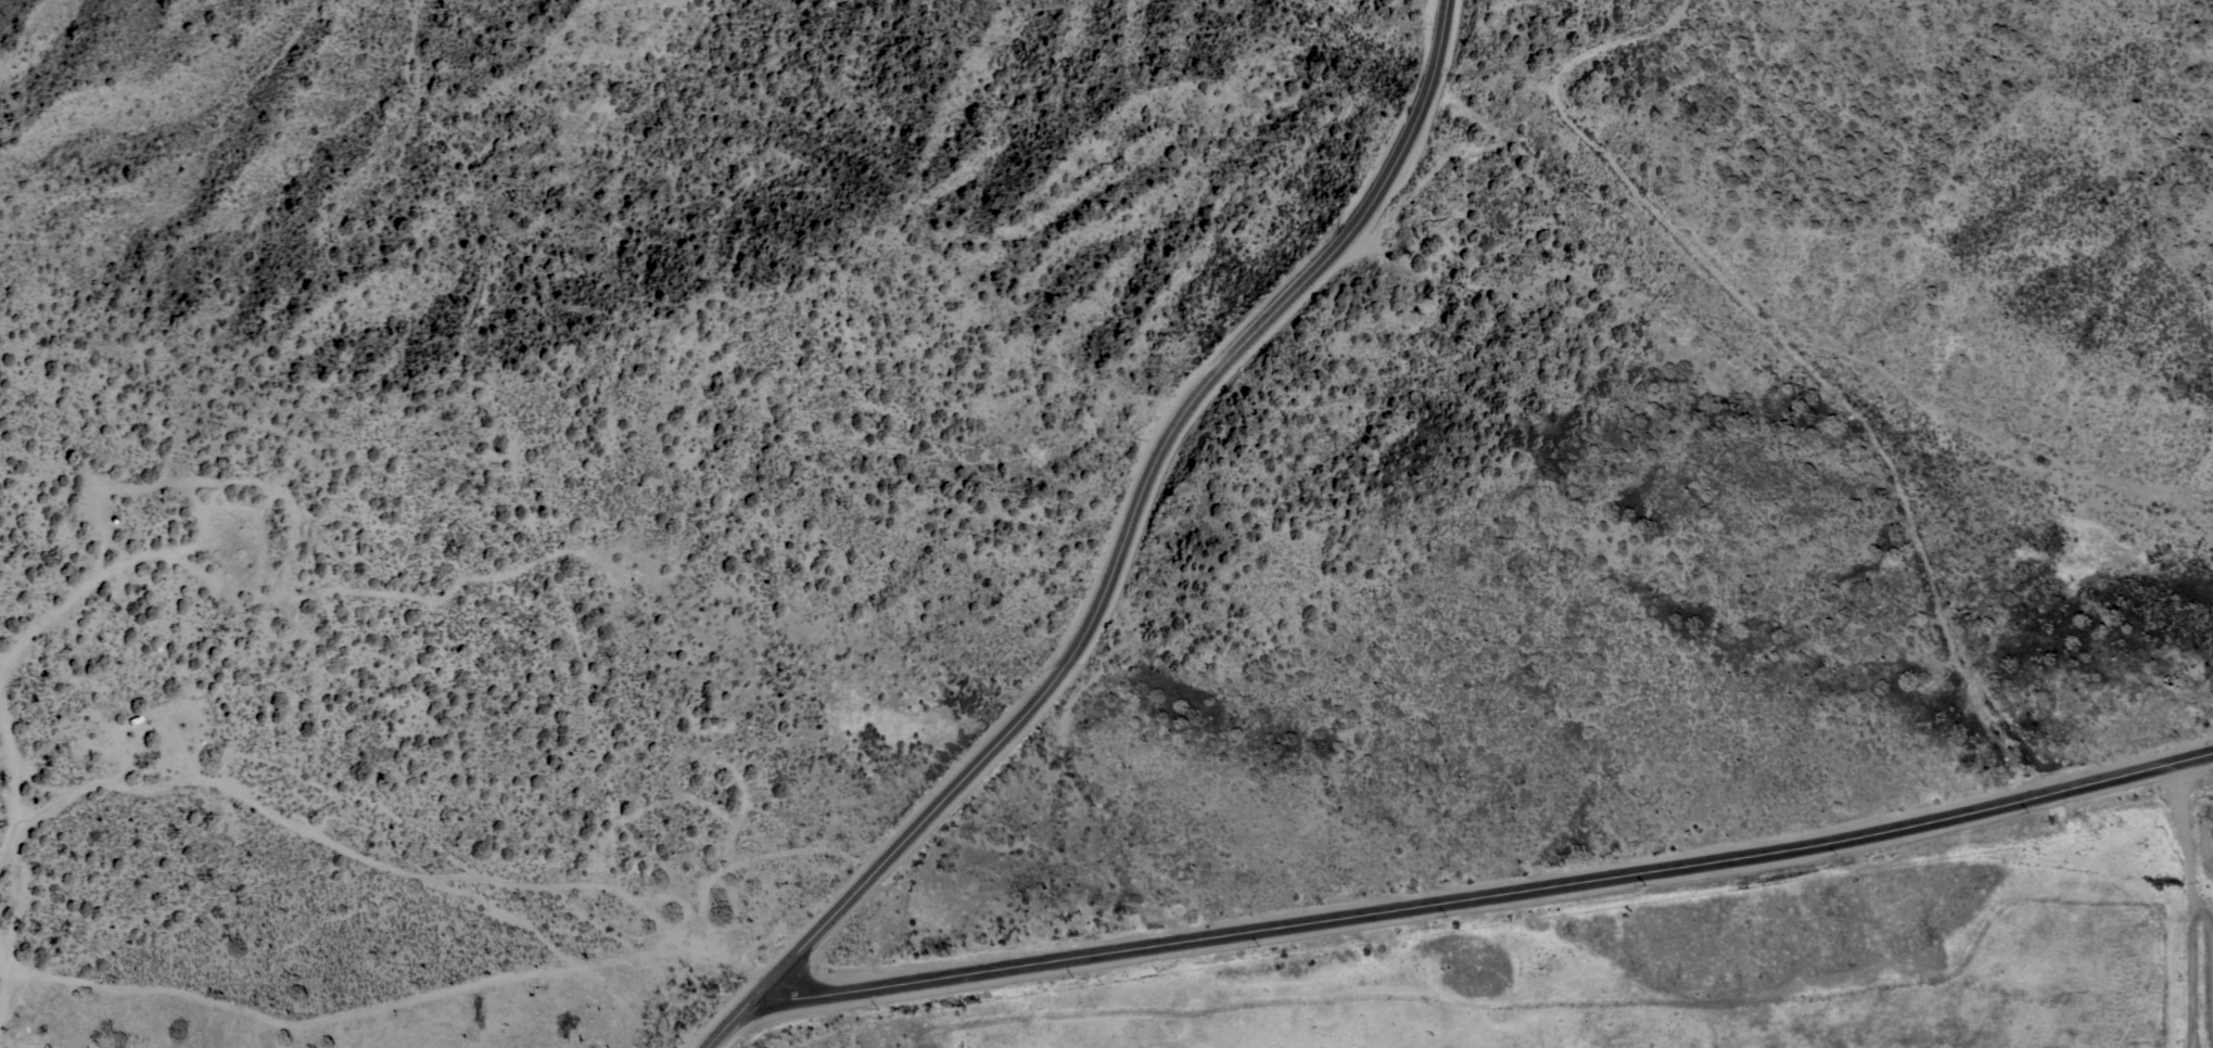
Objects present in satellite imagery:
road: (448, 517)
road: (1131, 554)
road: (25, 649)
road: (2185, 831)
road: (382, 867)
building: (15, 879)
road: (1500, 890)
road: (2209, 925)
road: (2191, 973)
road: (2, 985)

